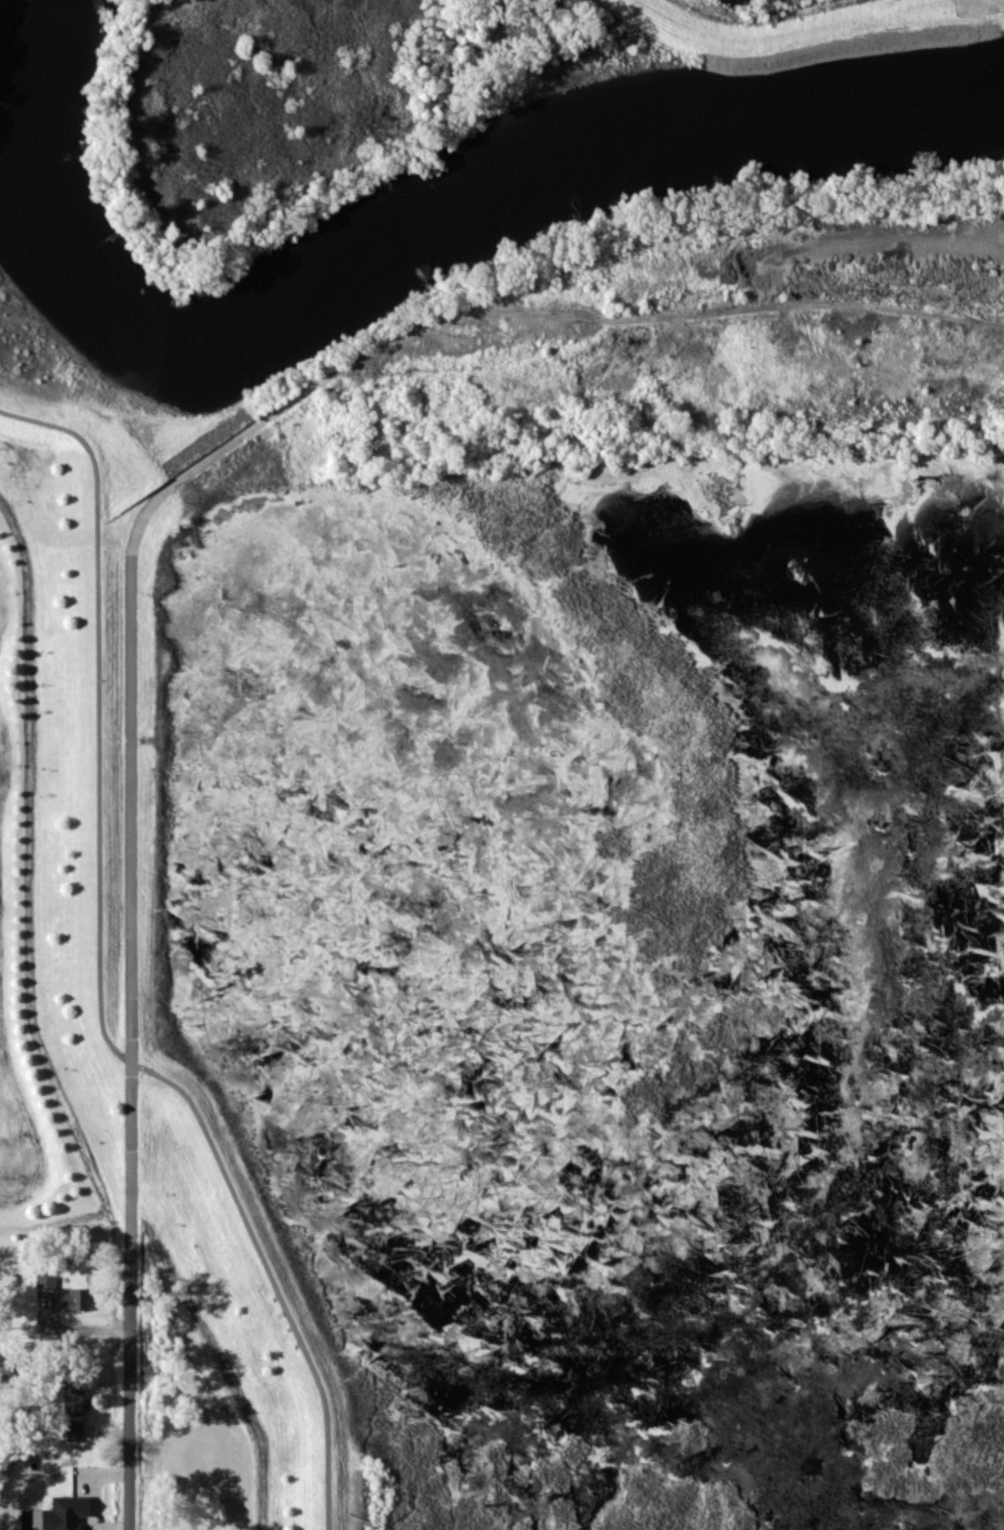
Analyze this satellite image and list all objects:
road: (923, 243)
river: (374, 257)
road: (969, 282)
road: (661, 313)
park: (30, 408)
road: (130, 906)
road: (98, 975)
building: (45, 1279)
building: (74, 1299)
building: (72, 1397)
building: (74, 1432)
building: (64, 1512)

